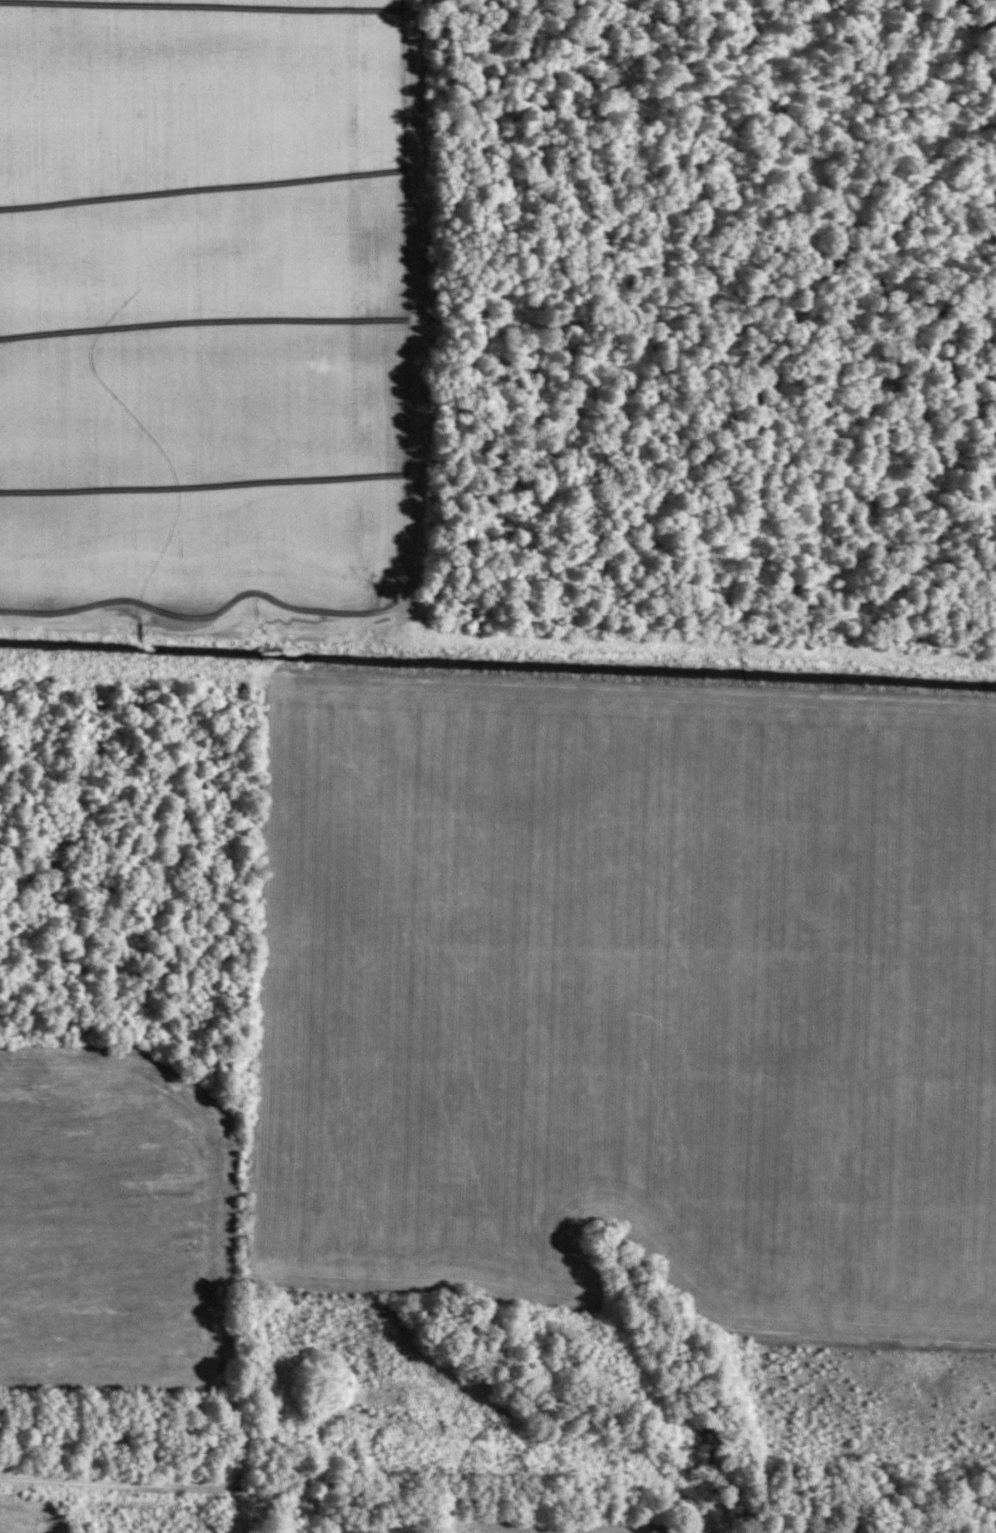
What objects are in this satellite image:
road: (129, 1486)

